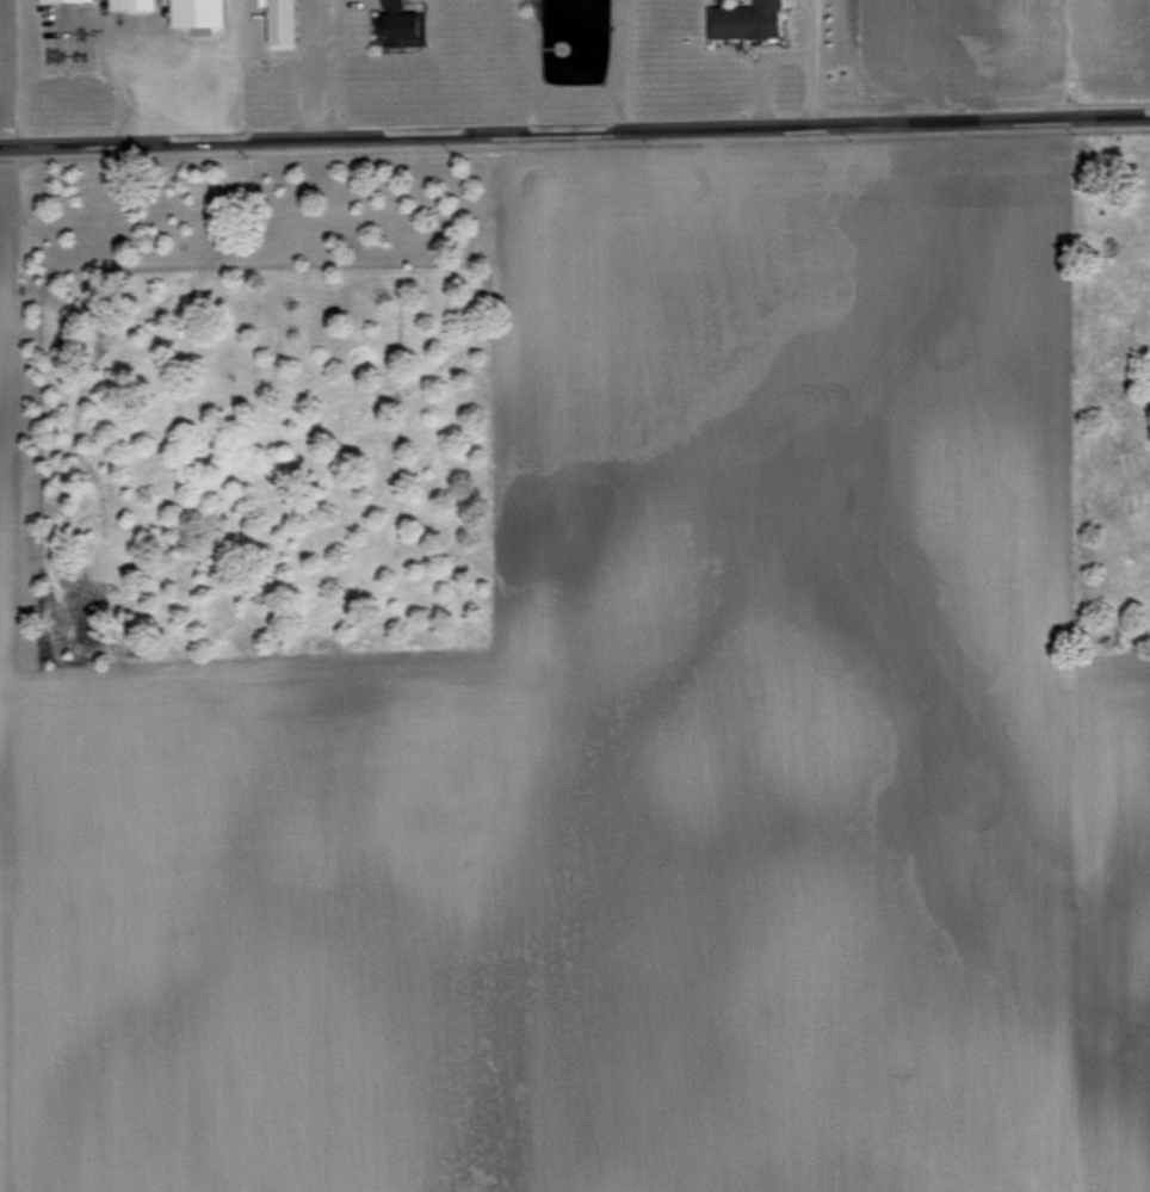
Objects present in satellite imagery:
building: (51, 0)
building: (134, 4)
building: (202, 12)
building: (747, 19)
building: (284, 21)
building: (402, 24)
road: (575, 135)

